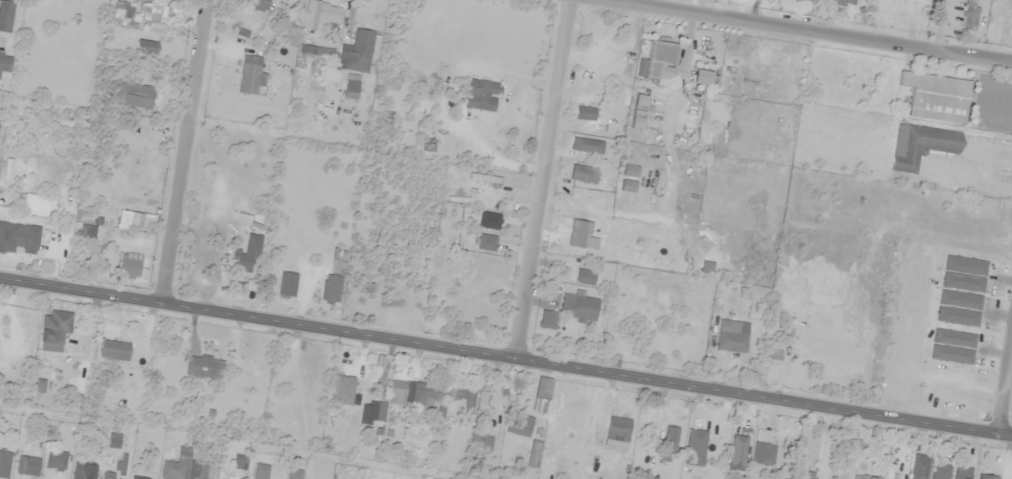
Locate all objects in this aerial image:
building: (169, 0)
building: (925, 0)
building: (805, 1)
building: (843, 2)
building: (259, 5)
building: (123, 11)
building: (154, 13)
building: (320, 14)
building: (6, 15)
building: (971, 16)
road: (806, 31)
building: (146, 48)
building: (317, 52)
building: (358, 52)
building: (5, 62)
building: (659, 64)
building: (252, 75)
building: (703, 78)
building: (351, 87)
building: (134, 95)
building: (482, 96)
building: (937, 97)
building: (639, 112)
building: (585, 113)
road: (233, 115)
building: (710, 119)
building: (588, 146)
building: (924, 146)
road: (182, 151)
building: (631, 171)
building: (583, 173)
road: (541, 179)
building: (628, 186)
building: (632, 201)
building: (33, 204)
building: (123, 219)
building: (489, 220)
building: (87, 232)
building: (18, 239)
building: (486, 242)
building: (242, 261)
building: (129, 267)
building: (335, 277)
building: (585, 277)
building: (287, 285)
building: (472, 287)
building: (578, 308)
building: (548, 320)
building: (55, 326)
building: (732, 336)
building: (115, 350)
road: (505, 357)
building: (774, 357)
building: (204, 366)
road: (1004, 389)
building: (342, 390)
building: (414, 393)
building: (541, 396)
building: (469, 399)
building: (373, 412)
building: (519, 425)
building: (618, 429)
building: (113, 441)
building: (480, 442)
building: (670, 443)
building: (695, 447)
building: (763, 449)
building: (535, 451)
building: (737, 452)
building: (56, 460)
building: (239, 461)
building: (4, 464)
building: (27, 466)
building: (920, 466)
building: (186, 467)
building: (117, 468)
building: (83, 471)
building: (261, 471)
building: (941, 471)
building: (963, 473)
building: (293, 474)
building: (807, 475)
building: (138, 477)
building: (865, 477)
building: (988, 477)

